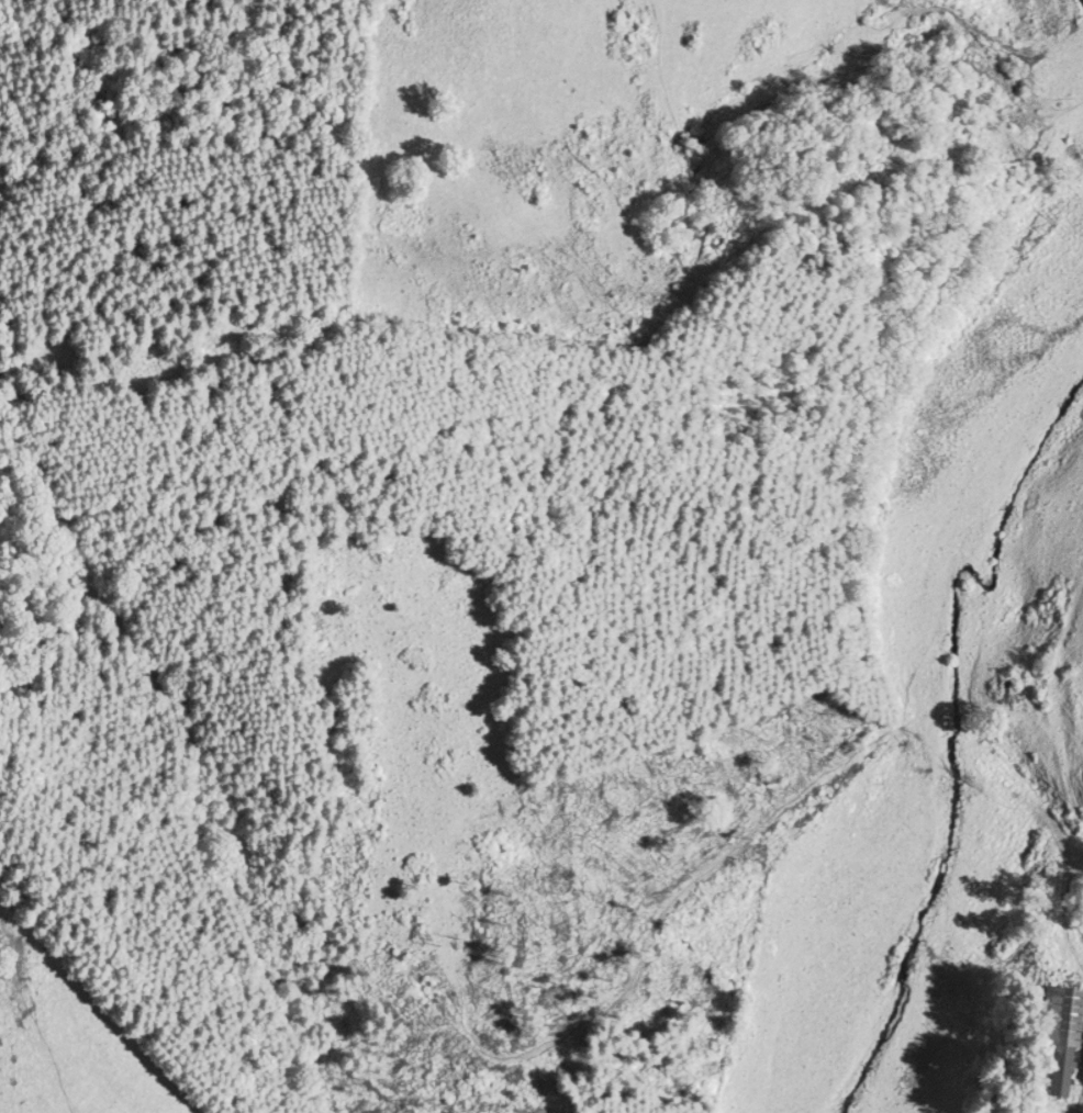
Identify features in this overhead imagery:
building: (1008, 692)
building: (487, 839)
building: (1057, 1031)

